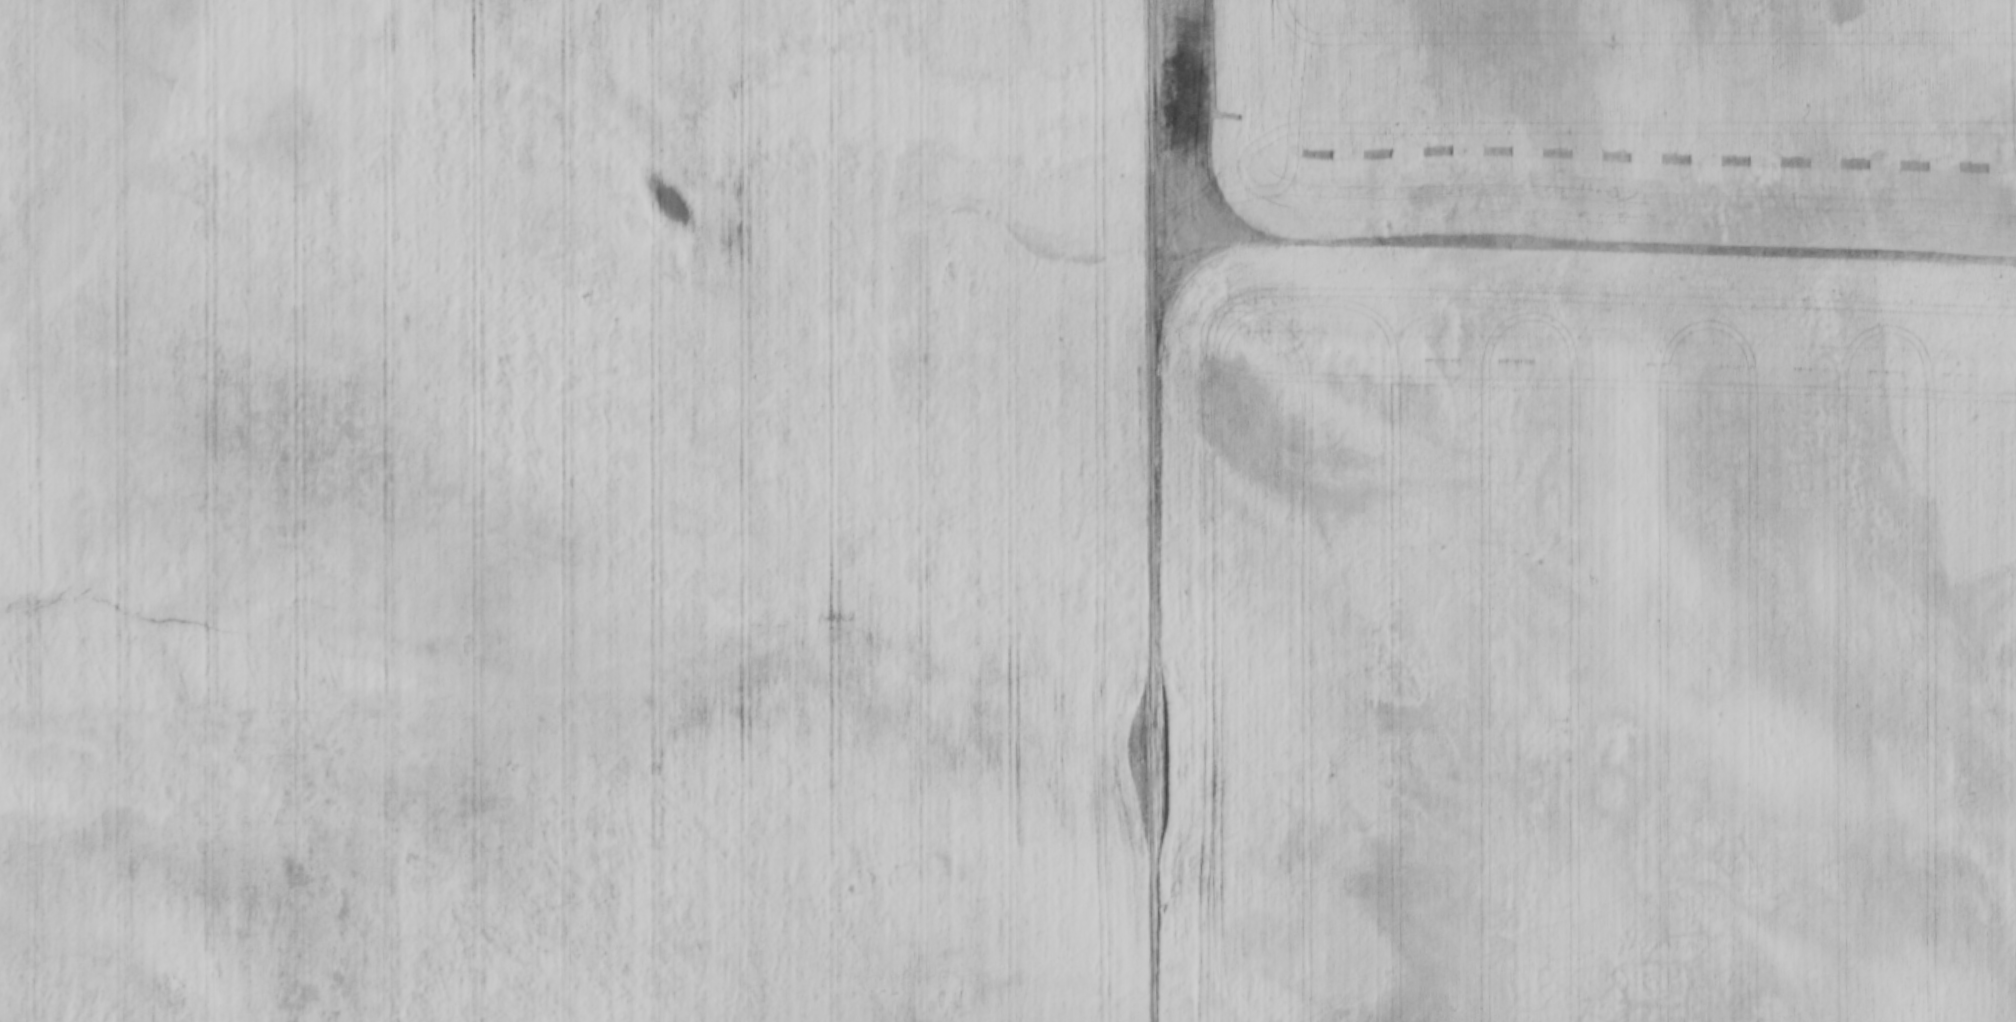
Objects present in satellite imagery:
road: (1152, 510)

